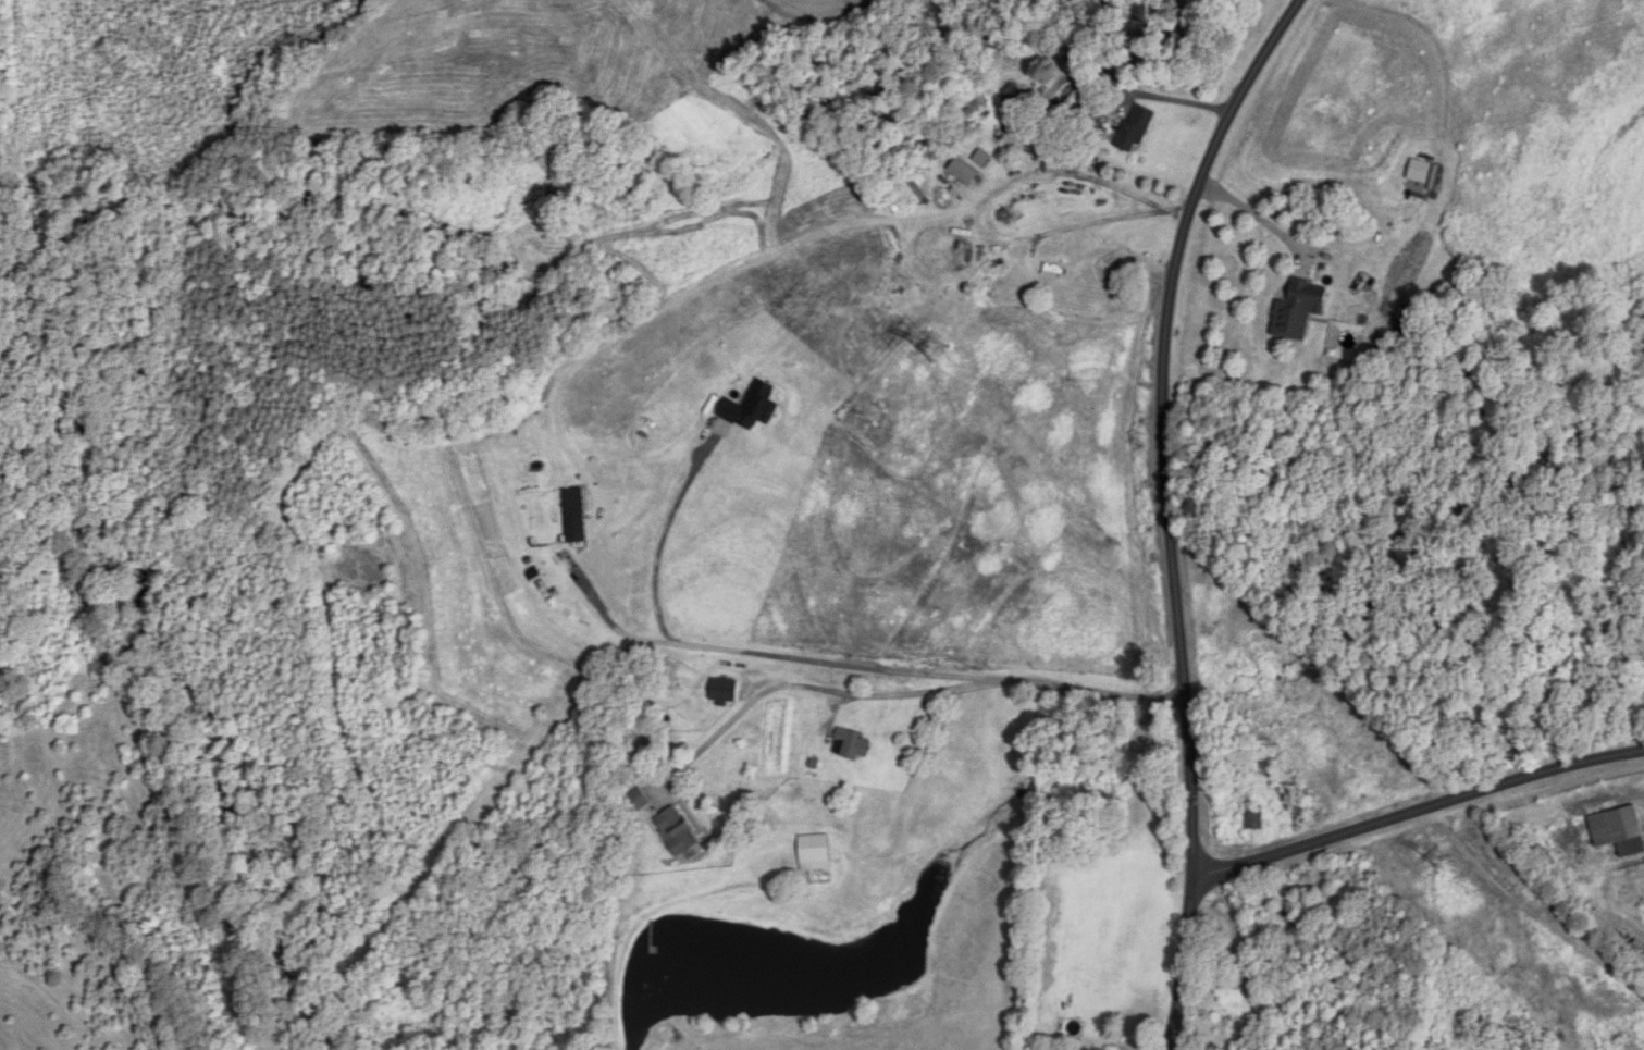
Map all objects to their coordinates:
building: (1014, 94)
building: (1070, 107)
building: (974, 110)
building: (1135, 131)
building: (981, 159)
building: (963, 172)
road: (988, 198)
road: (1263, 221)
building: (1298, 309)
power tower: (937, 351)
road: (1169, 510)
building: (574, 515)
road: (667, 528)
road: (609, 618)
road: (832, 663)
road: (905, 694)
building: (851, 745)
road: (1418, 812)
building: (1254, 818)
building: (676, 831)
building: (1619, 831)
building: (814, 853)
power tower: (1438, 858)

